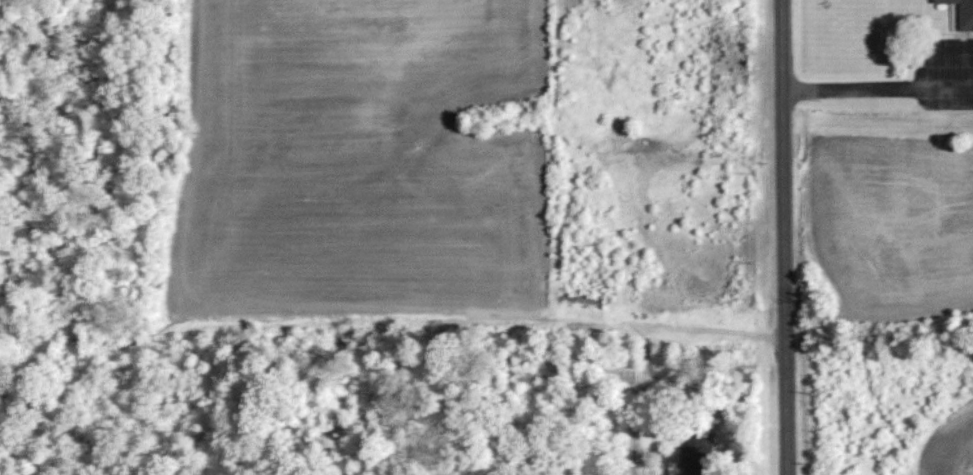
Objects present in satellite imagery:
building: (962, 12)
road: (930, 43)
road: (945, 83)
road: (850, 84)
crop: (358, 168)
crop: (893, 224)
road: (784, 237)
crop: (950, 445)
building: (695, 452)

